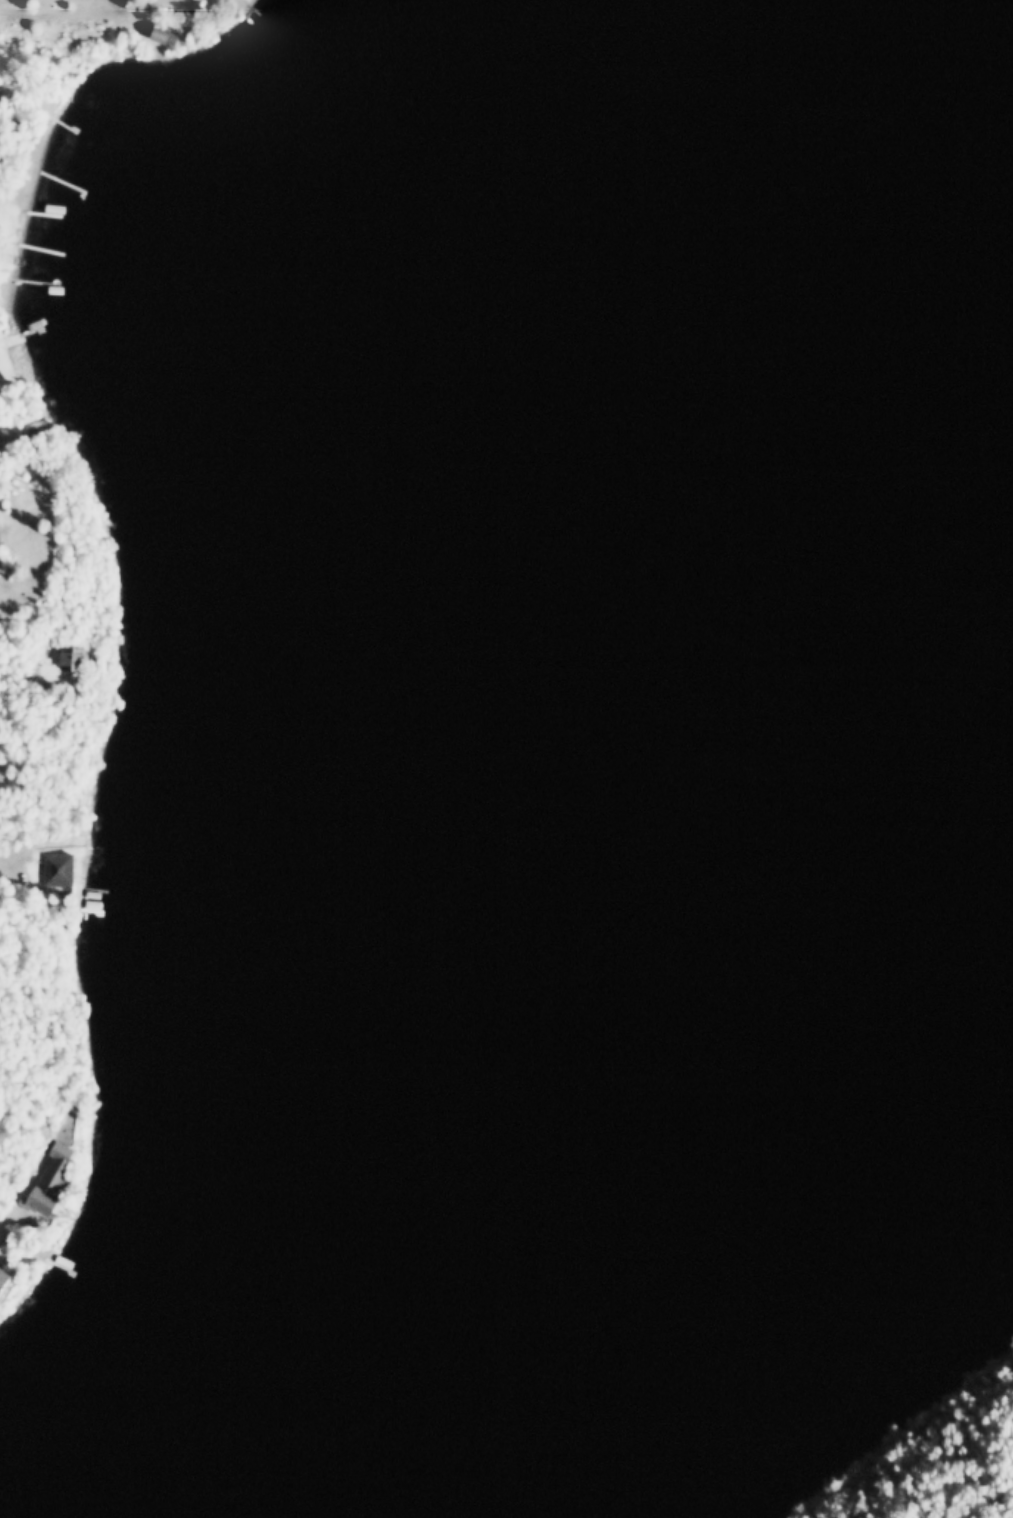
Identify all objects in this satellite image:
road: (69, 1)
building: (153, 34)
building: (9, 102)
building: (60, 659)
building: (77, 659)
road: (23, 684)
building: (70, 795)
building: (51, 868)
road: (26, 1160)
building: (42, 1178)
building: (5, 1281)

